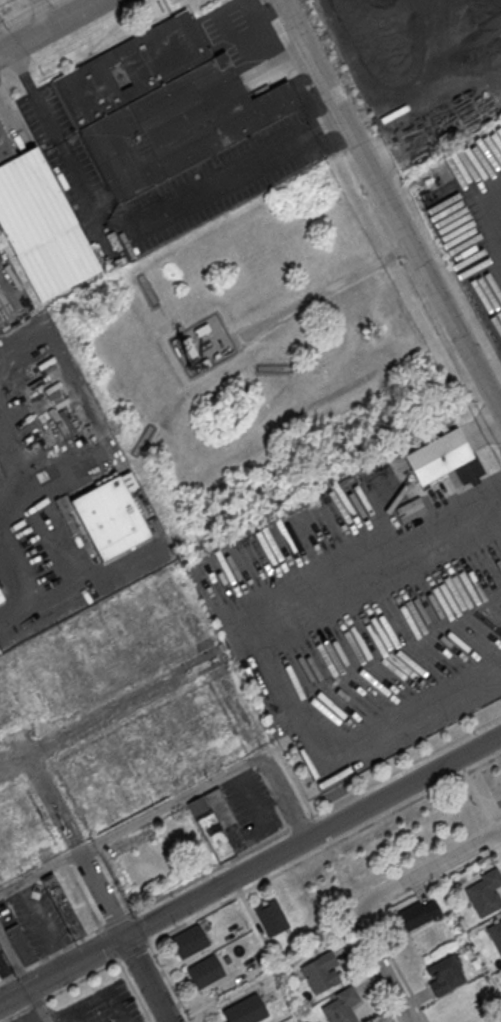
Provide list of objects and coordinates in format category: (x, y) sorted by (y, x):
road: (42, 13)
road: (49, 26)
road: (269, 44)
building: (131, 68)
road: (34, 94)
building: (178, 125)
building: (5, 148)
road: (185, 203)
road: (390, 205)
building: (42, 226)
road: (498, 252)
road: (323, 292)
building: (202, 328)
building: (189, 347)
park: (261, 359)
building: (201, 364)
building: (442, 458)
building: (110, 515)
road: (369, 553)
road: (78, 591)
building: (1, 596)
building: (1, 603)
road: (112, 712)
park: (493, 781)
road: (478, 798)
road: (172, 802)
road: (493, 806)
building: (214, 822)
road: (250, 869)
road: (426, 869)
building: (485, 892)
road: (101, 895)
building: (62, 906)
building: (416, 915)
building: (271, 917)
building: (496, 934)
building: (188, 940)
building: (20, 944)
road: (378, 968)
building: (204, 971)
building: (321, 973)
building: (444, 976)
road: (23, 977)
road: (146, 979)
building: (0, 981)
parking lot: (102, 1005)
building: (341, 1005)
building: (245, 1009)

